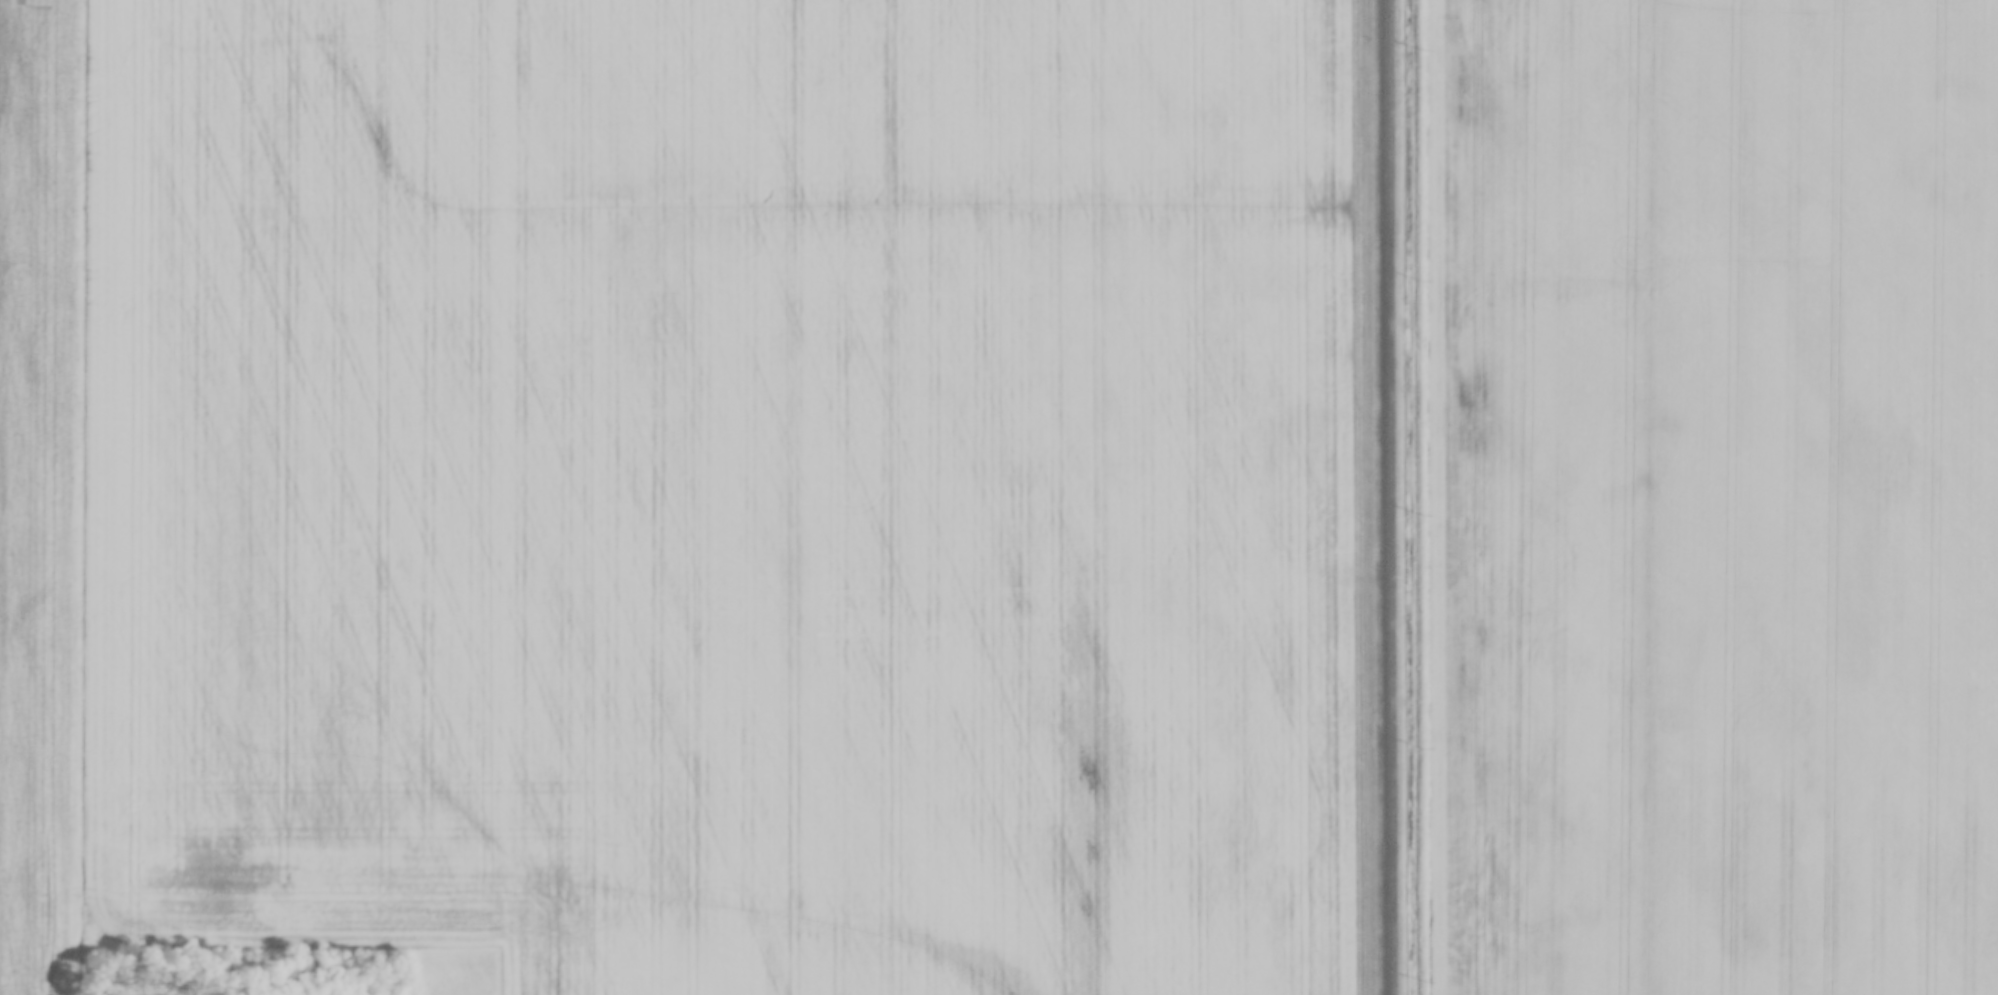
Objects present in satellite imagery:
road: (1387, 497)

